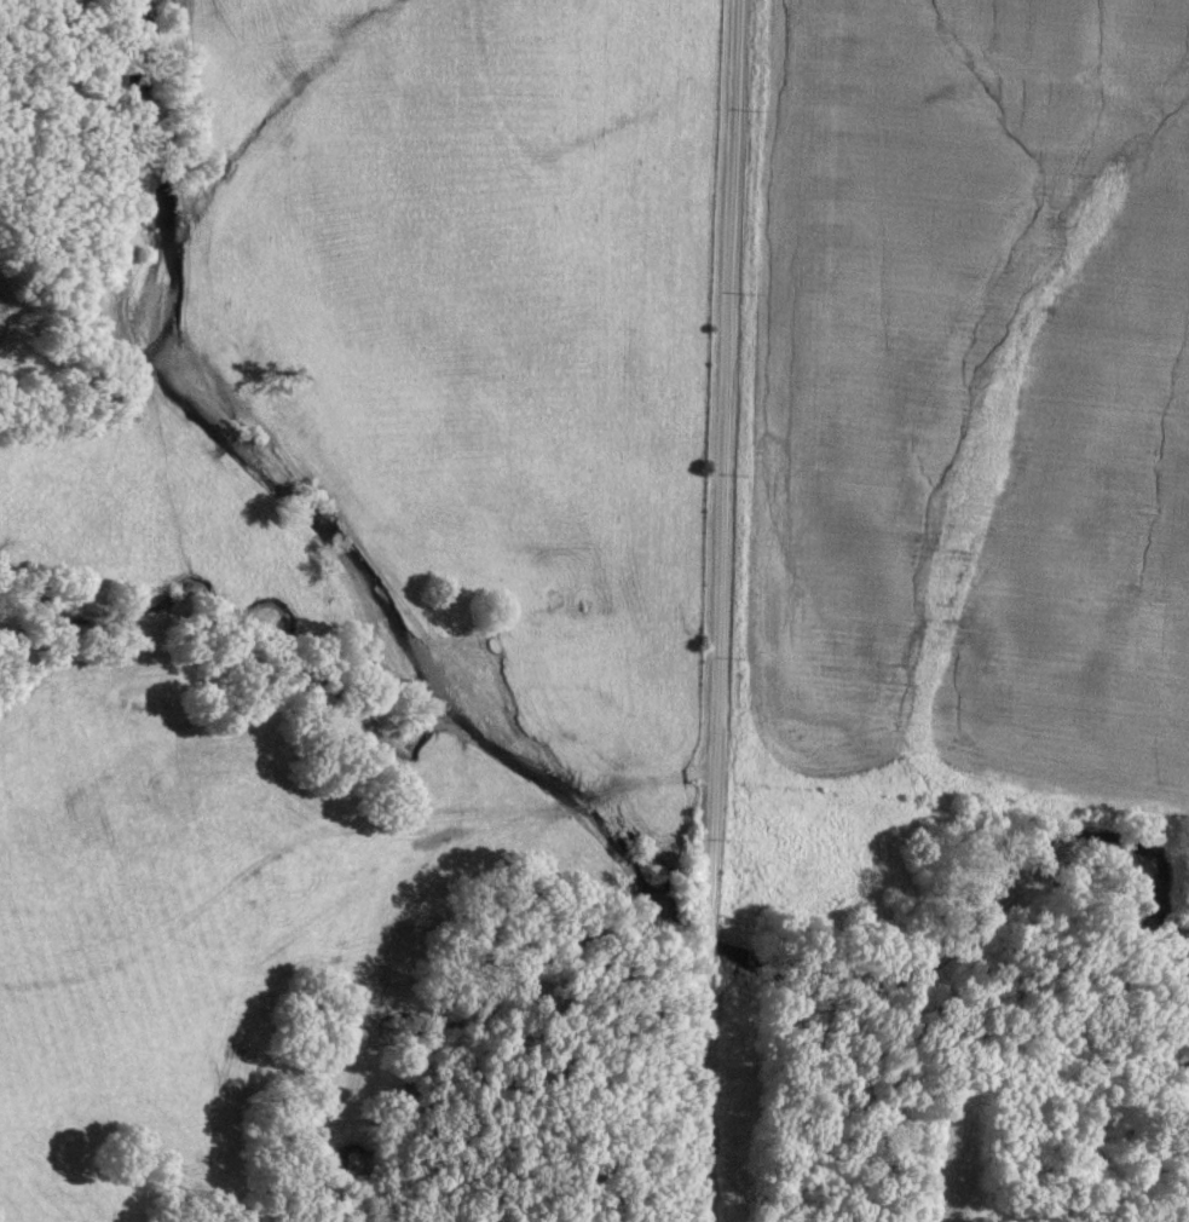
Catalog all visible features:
road: (723, 611)

